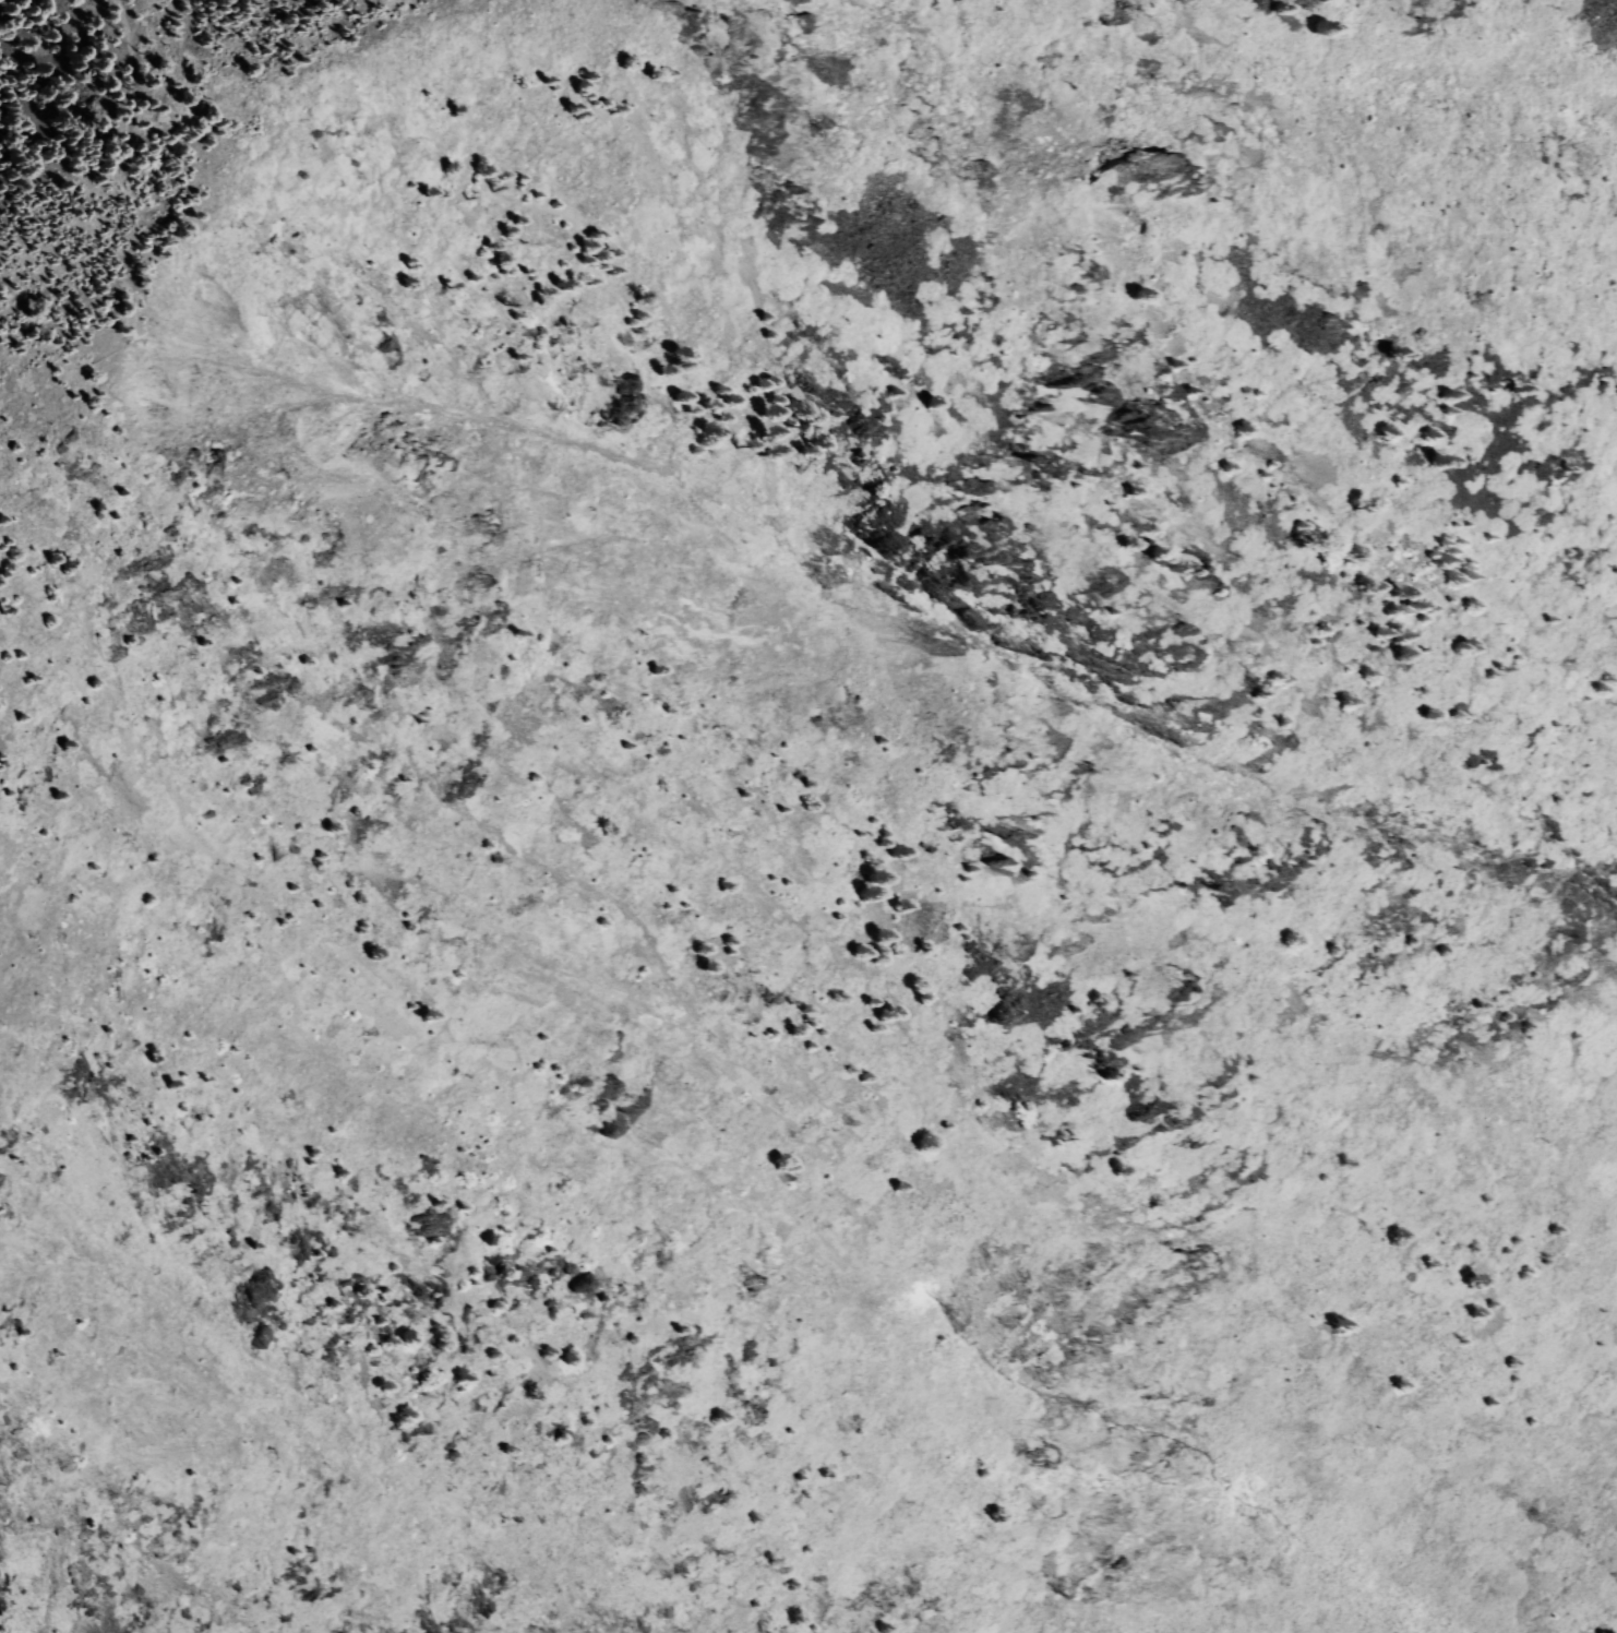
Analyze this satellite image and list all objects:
road: (120, 148)

